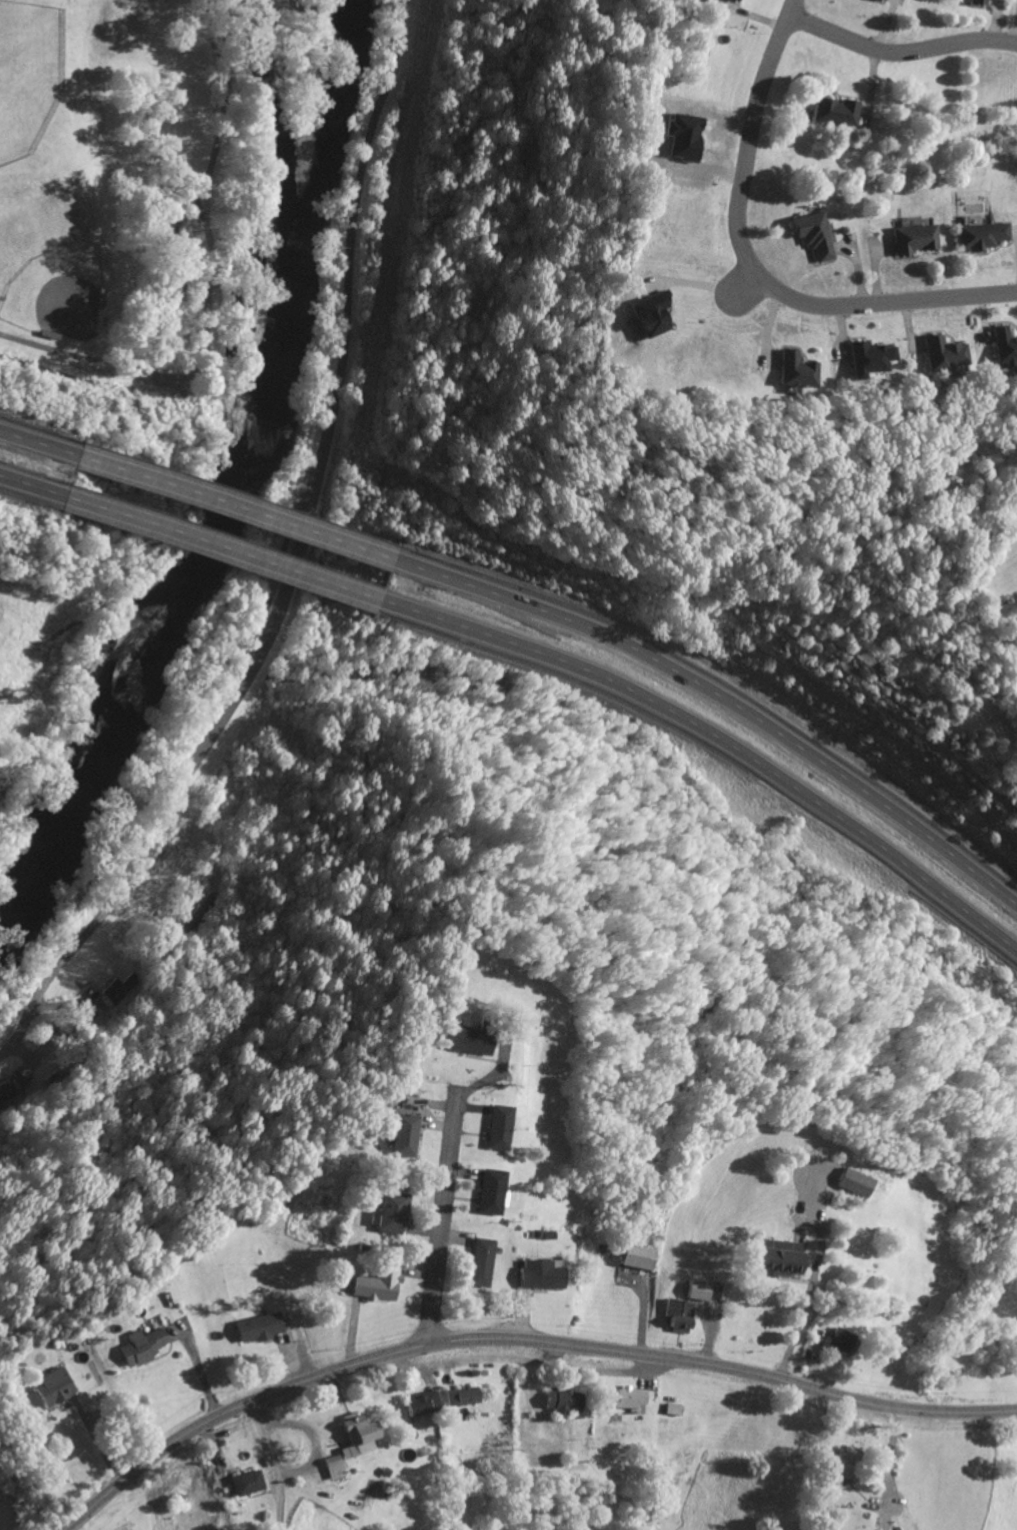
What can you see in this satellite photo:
building: (732, 0)
building: (883, 1)
building: (978, 3)
road: (899, 52)
park: (29, 76)
building: (837, 114)
park: (148, 175)
building: (815, 237)
building: (983, 238)
building: (915, 240)
road: (753, 267)
road: (749, 285)
road: (210, 286)
park: (59, 292)
building: (647, 319)
building: (1003, 348)
building: (941, 356)
building: (866, 361)
building: (793, 373)
road: (35, 444)
road: (28, 489)
river: (237, 491)
road: (229, 507)
road: (216, 549)
road: (297, 565)
road: (720, 689)
road: (715, 737)
building: (114, 995)
building: (88, 1025)
building: (468, 1042)
building: (9, 1093)
building: (497, 1129)
building: (404, 1137)
building: (854, 1184)
building: (490, 1194)
building: (390, 1214)
road: (440, 1217)
building: (638, 1258)
building: (777, 1259)
building: (478, 1264)
building: (537, 1276)
building: (375, 1286)
building: (696, 1293)
building: (677, 1317)
road: (796, 1325)
building: (258, 1330)
road: (519, 1340)
building: (838, 1341)
building: (139, 1348)
building: (52, 1389)
building: (459, 1398)
building: (562, 1403)
building: (419, 1405)
building: (354, 1437)
road: (272, 1464)
building: (846, 1466)
building: (332, 1469)
building: (246, 1485)

